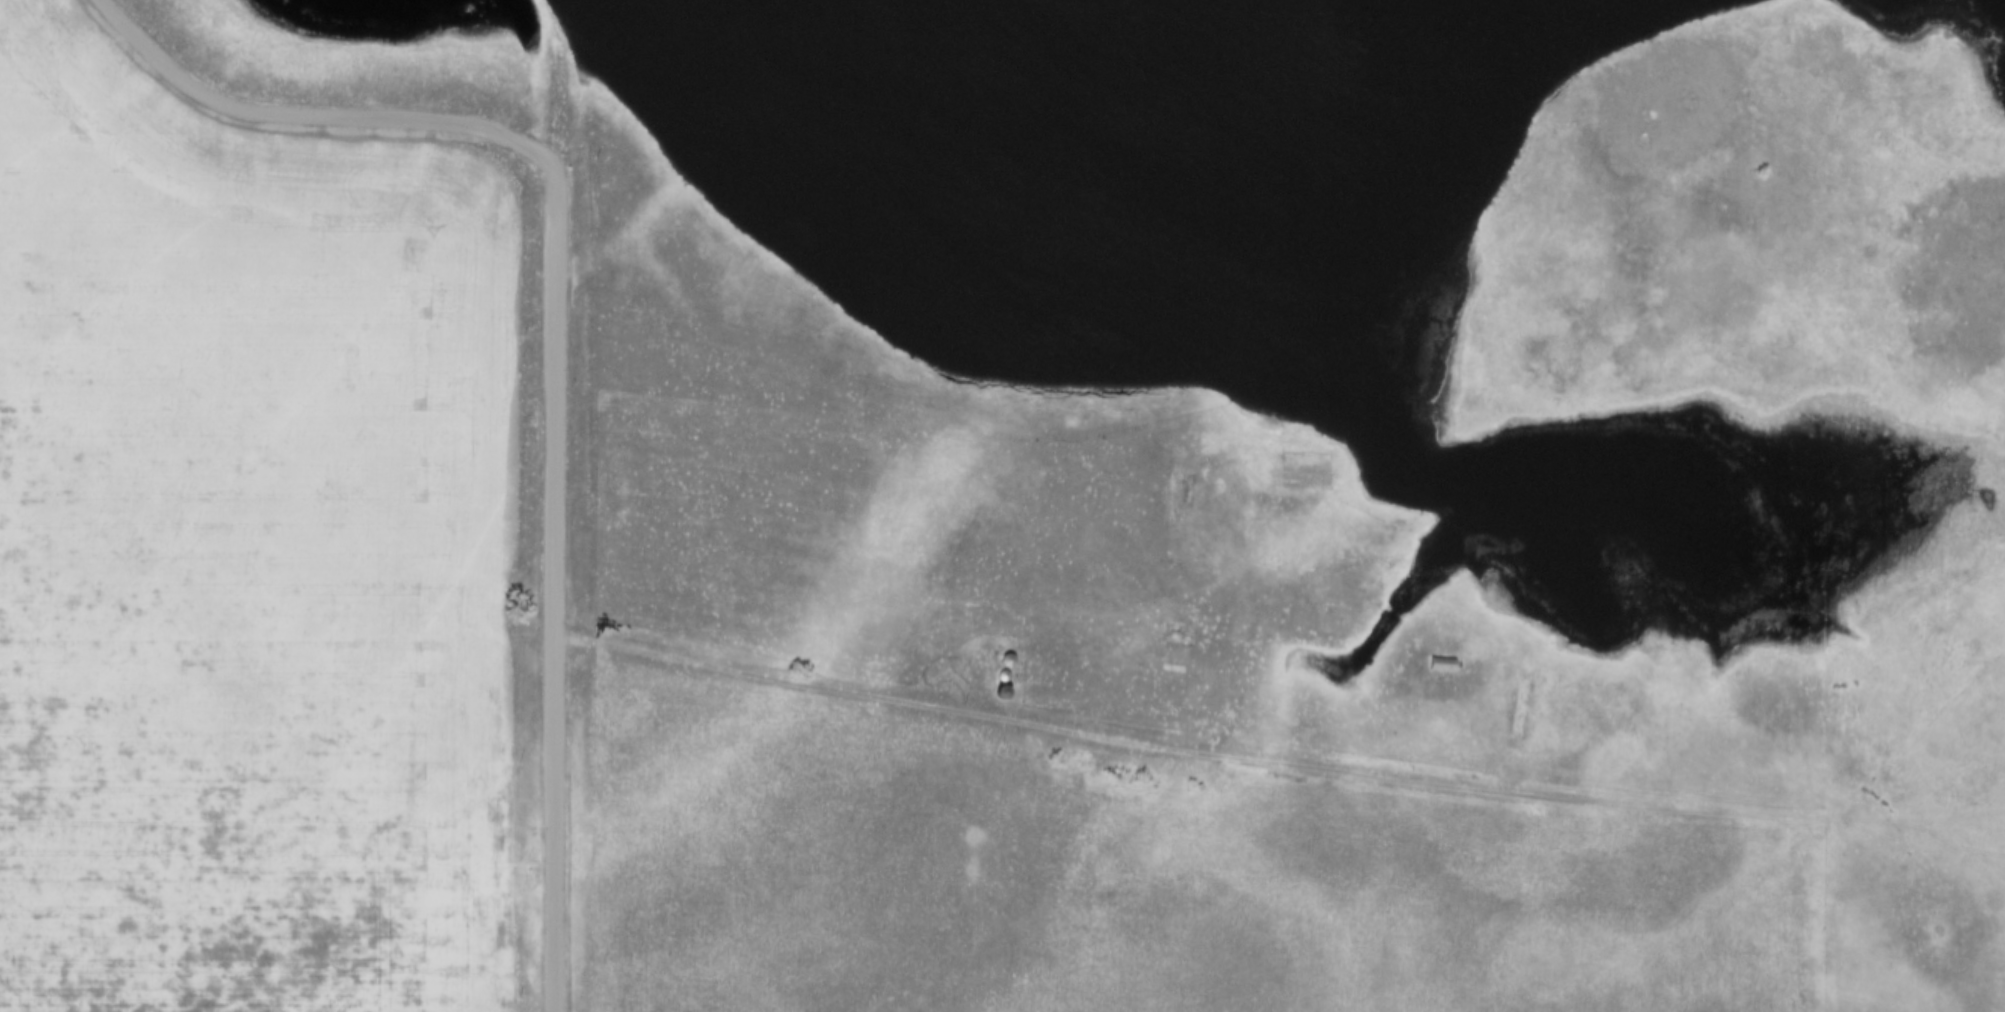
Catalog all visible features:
road: (288, 114)
road: (554, 574)
building: (1008, 652)
silo: (1008, 652)
building: (1442, 656)
building: (1442, 666)
building: (1004, 667)
silo: (1004, 667)
building: (1005, 684)
silo: (1005, 684)
road: (1343, 774)

